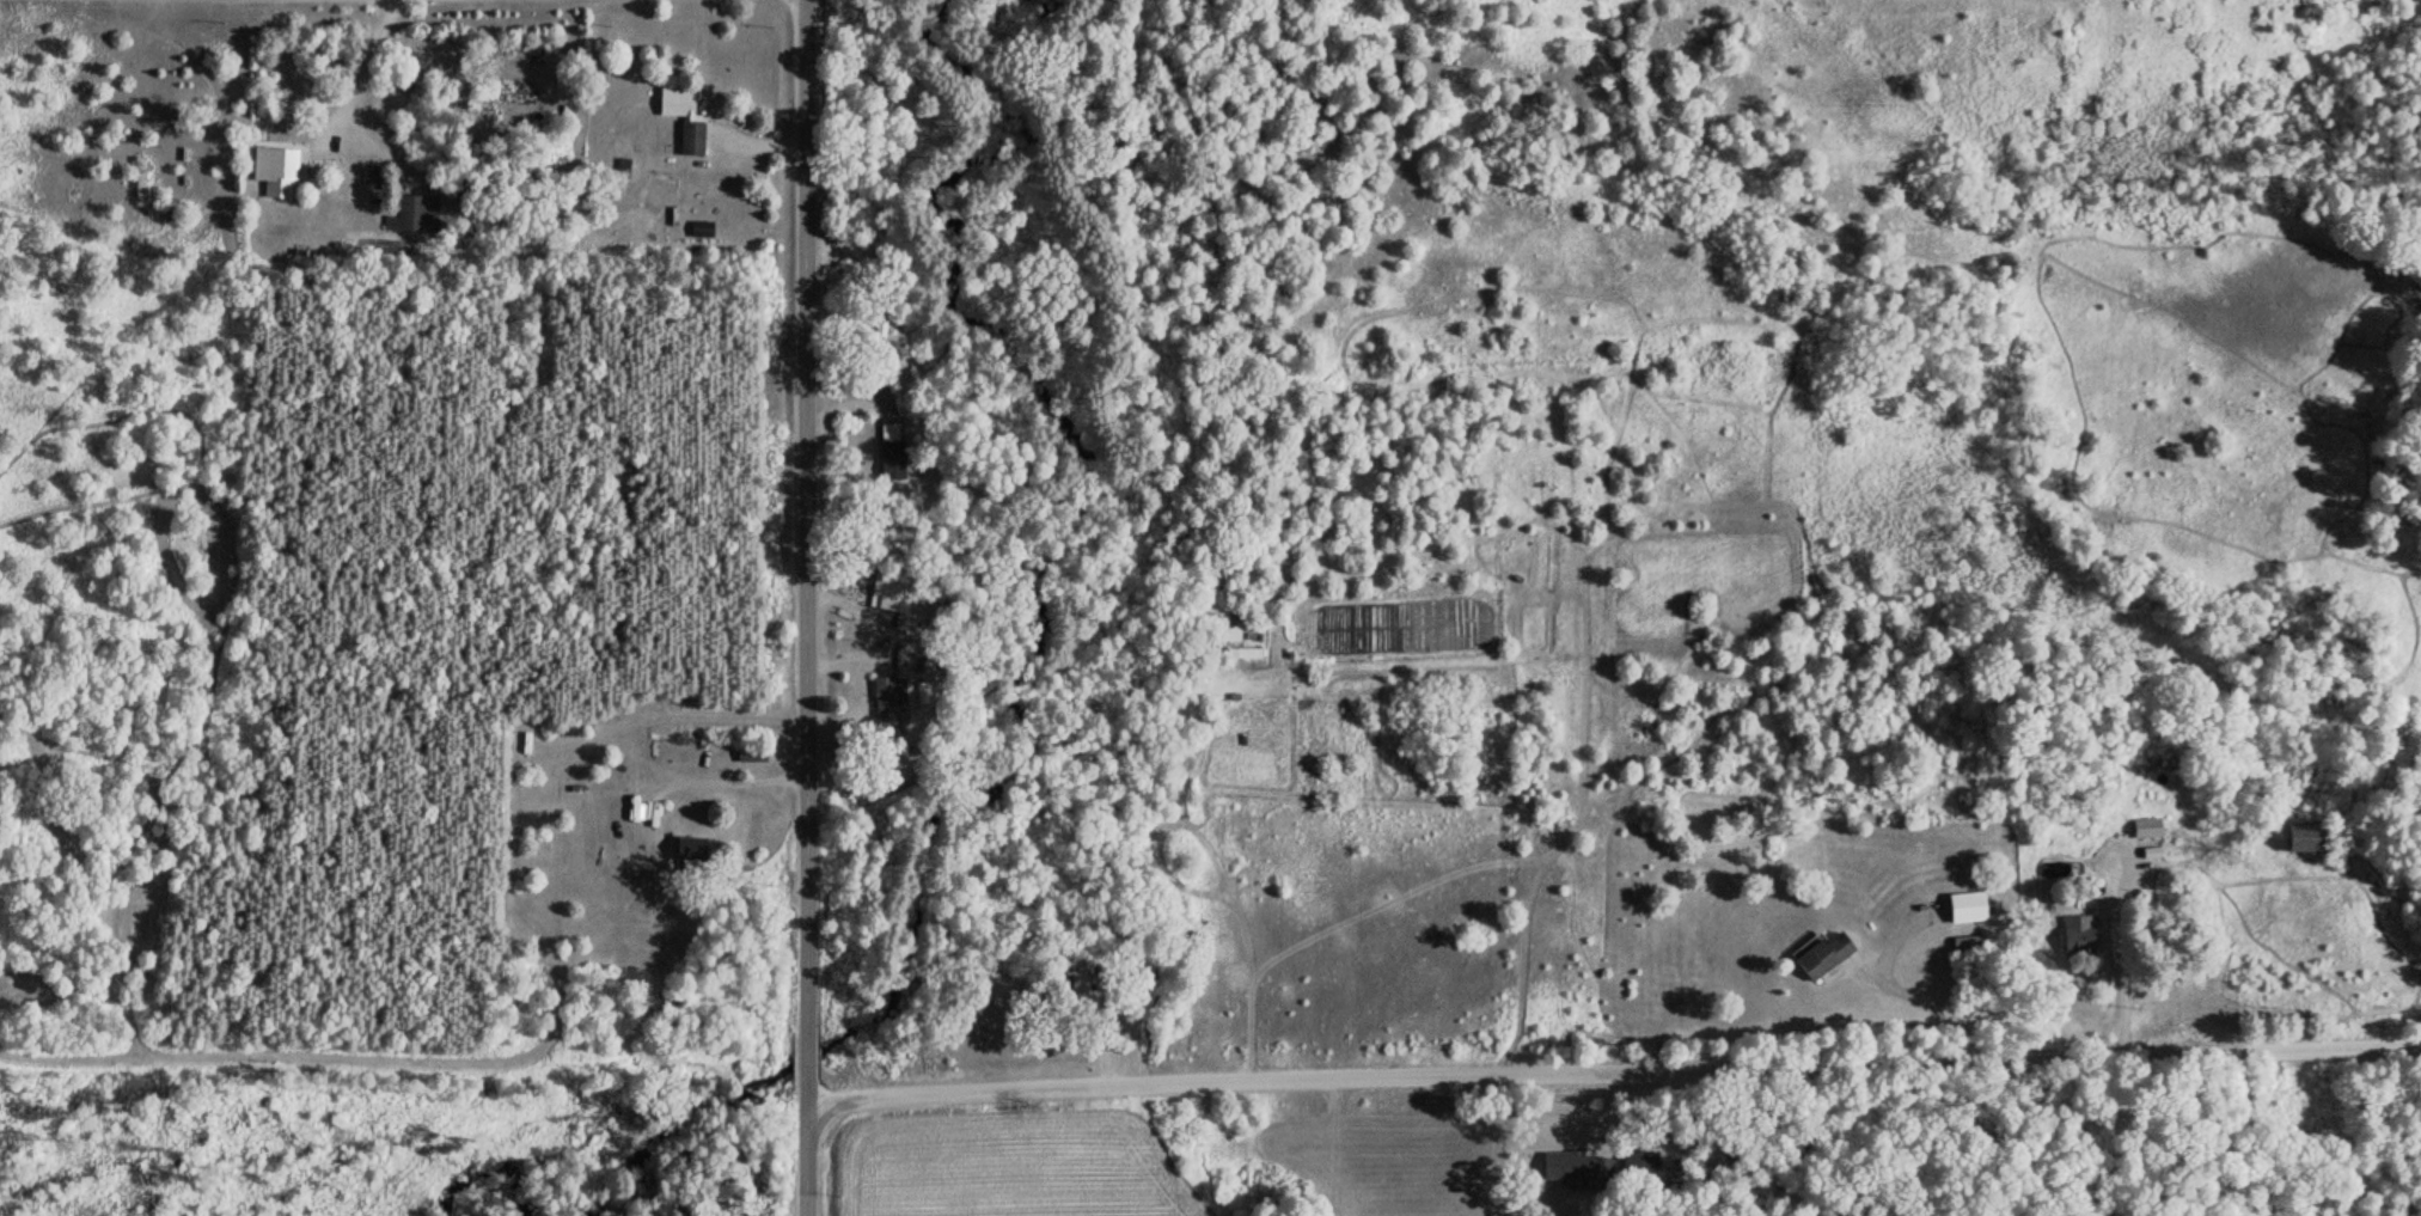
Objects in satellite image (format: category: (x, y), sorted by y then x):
building: (674, 99)
building: (689, 136)
building: (273, 170)
building: (136, 181)
building: (414, 210)
building: (698, 228)
building: (888, 453)
building: (894, 588)
road: (796, 607)
building: (886, 696)
building: (748, 751)
building: (2144, 827)
building: (2303, 837)
building: (687, 848)
building: (2075, 935)
building: (1818, 954)
road: (1604, 1033)
road: (2231, 1116)
building: (1633, 1161)
building: (1572, 1166)

